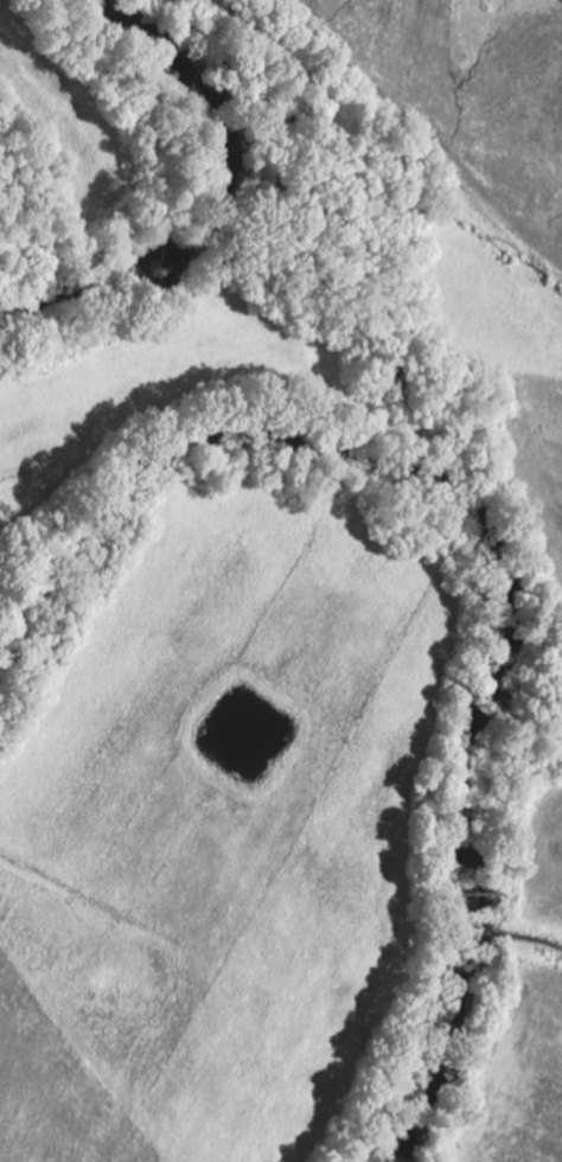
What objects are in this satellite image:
river: (228, 206)
river: (492, 535)

